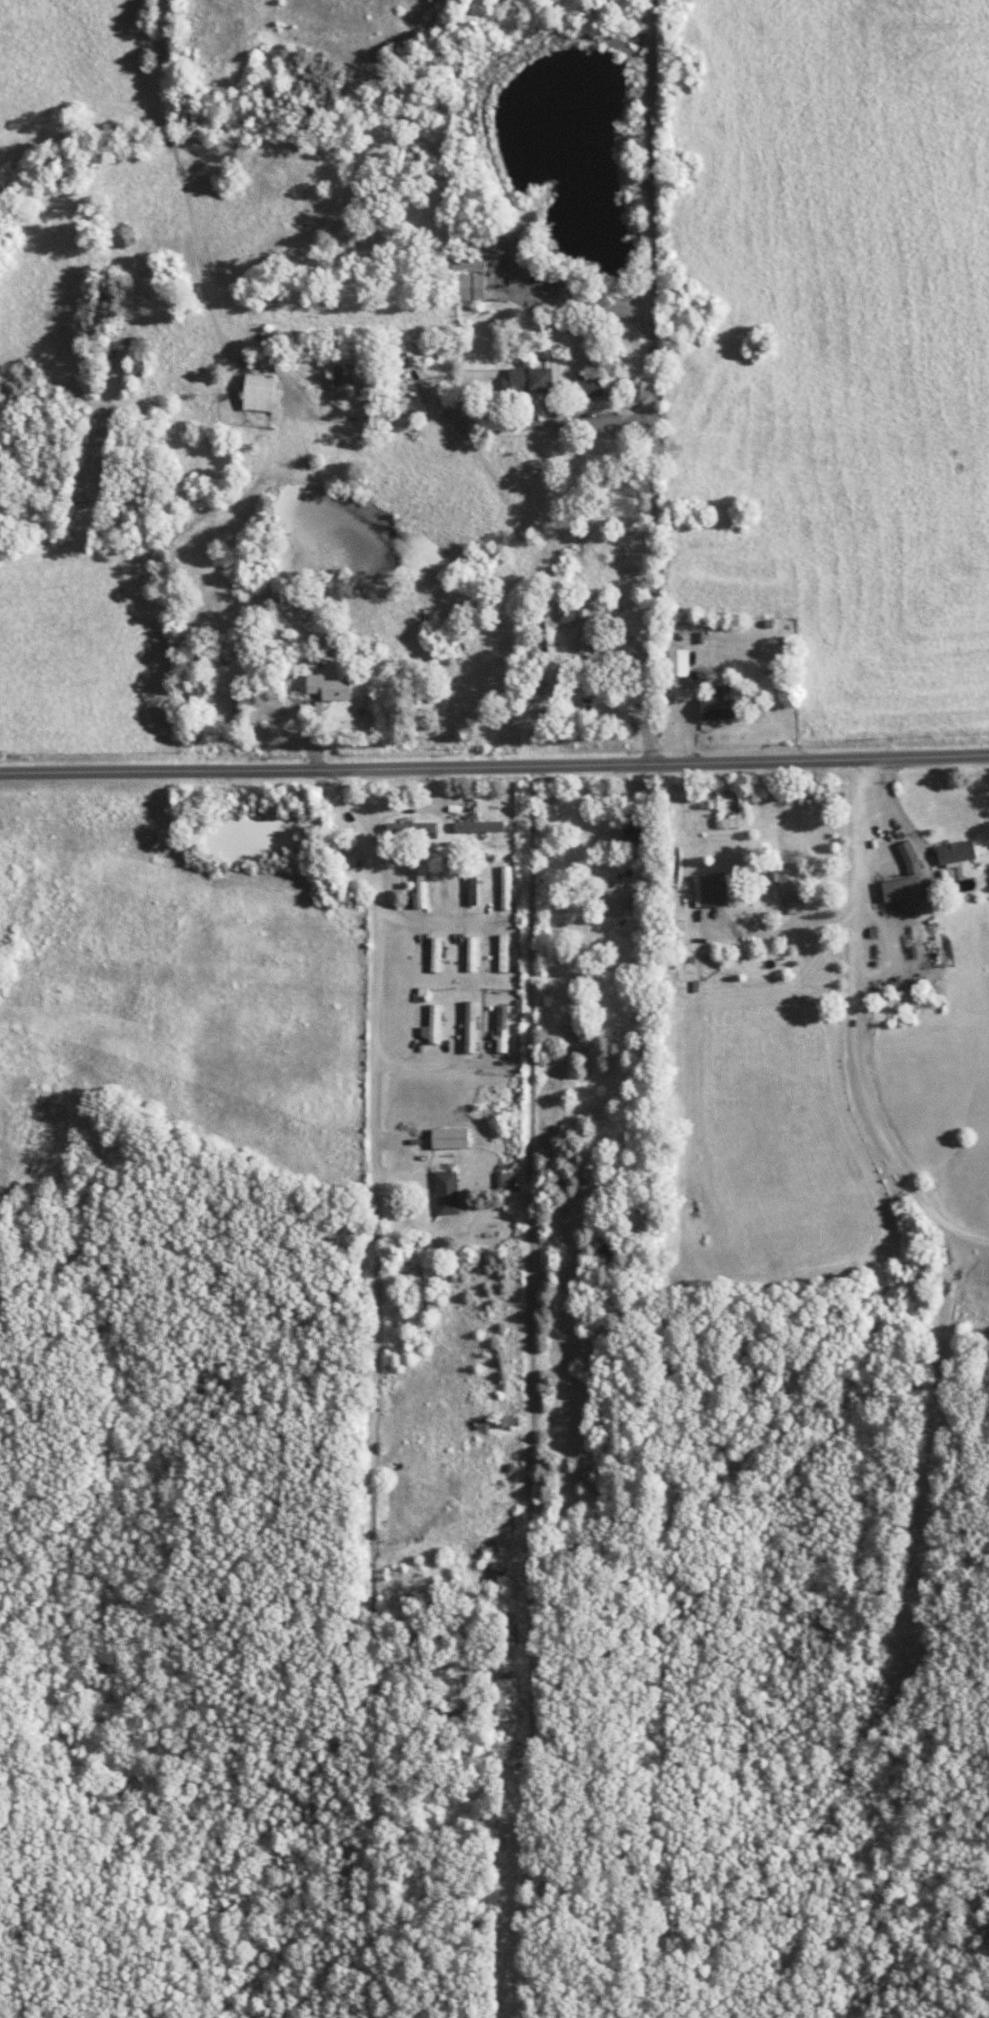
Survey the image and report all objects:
building: (479, 288)
building: (433, 352)
building: (349, 376)
building: (538, 379)
road: (656, 383)
building: (598, 385)
building: (266, 393)
building: (584, 625)
building: (685, 662)
building: (337, 687)
building: (724, 704)
road: (494, 769)
building: (421, 827)
building: (639, 835)
building: (964, 851)
building: (918, 860)
building: (512, 887)
building: (427, 888)
building: (941, 888)
building: (800, 889)
building: (717, 890)
building: (510, 953)
building: (478, 954)
building: (439, 1025)
building: (476, 1027)
building: (508, 1029)
road: (857, 1029)
building: (456, 1138)
building: (512, 1182)
building: (451, 1192)
road: (535, 1394)
building: (515, 1699)

